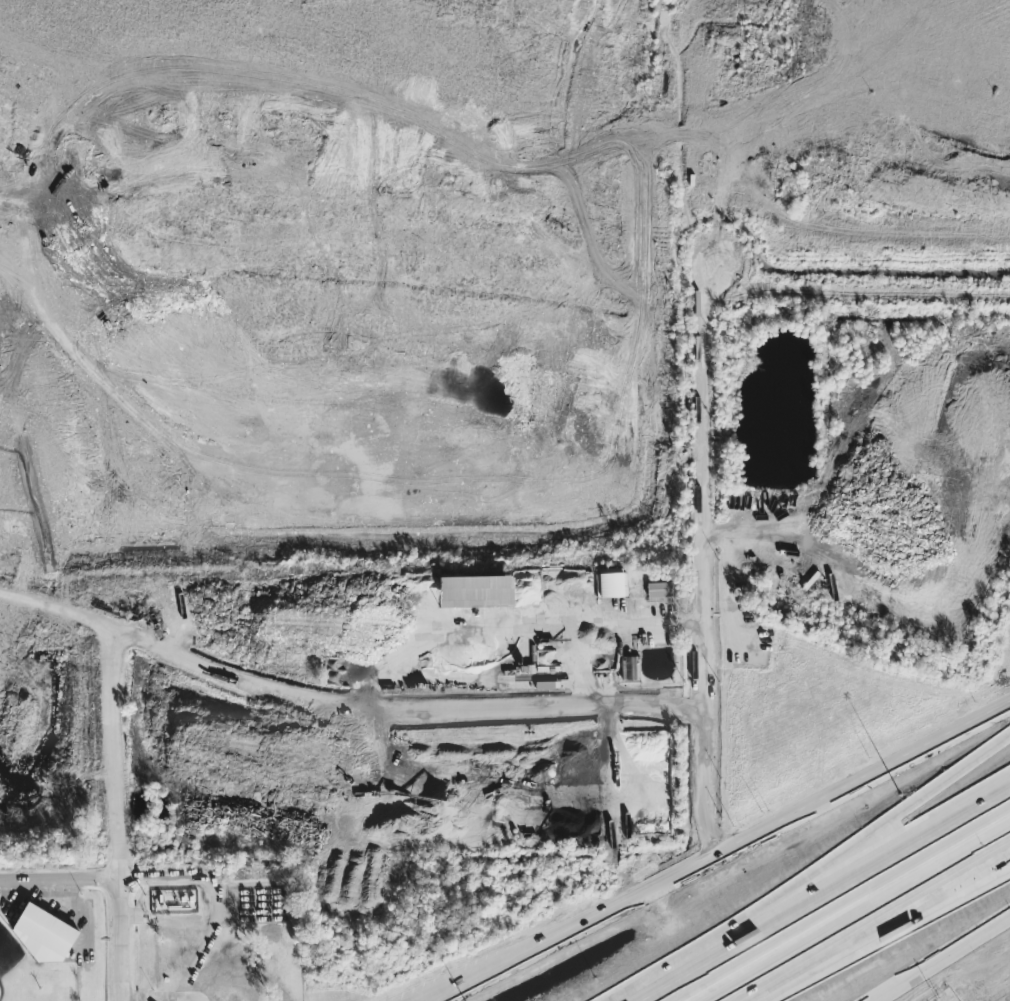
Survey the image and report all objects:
landfill: (341, 282)
road: (700, 581)
building: (611, 584)
building: (659, 589)
building: (476, 591)
road: (550, 631)
building: (630, 667)
road: (340, 712)
road: (116, 815)
road: (725, 856)
road: (810, 872)
road: (59, 879)
road: (219, 898)
road: (831, 898)
road: (861, 915)
building: (43, 933)
road: (888, 935)
road: (940, 958)
road: (470, 972)
road: (179, 996)

